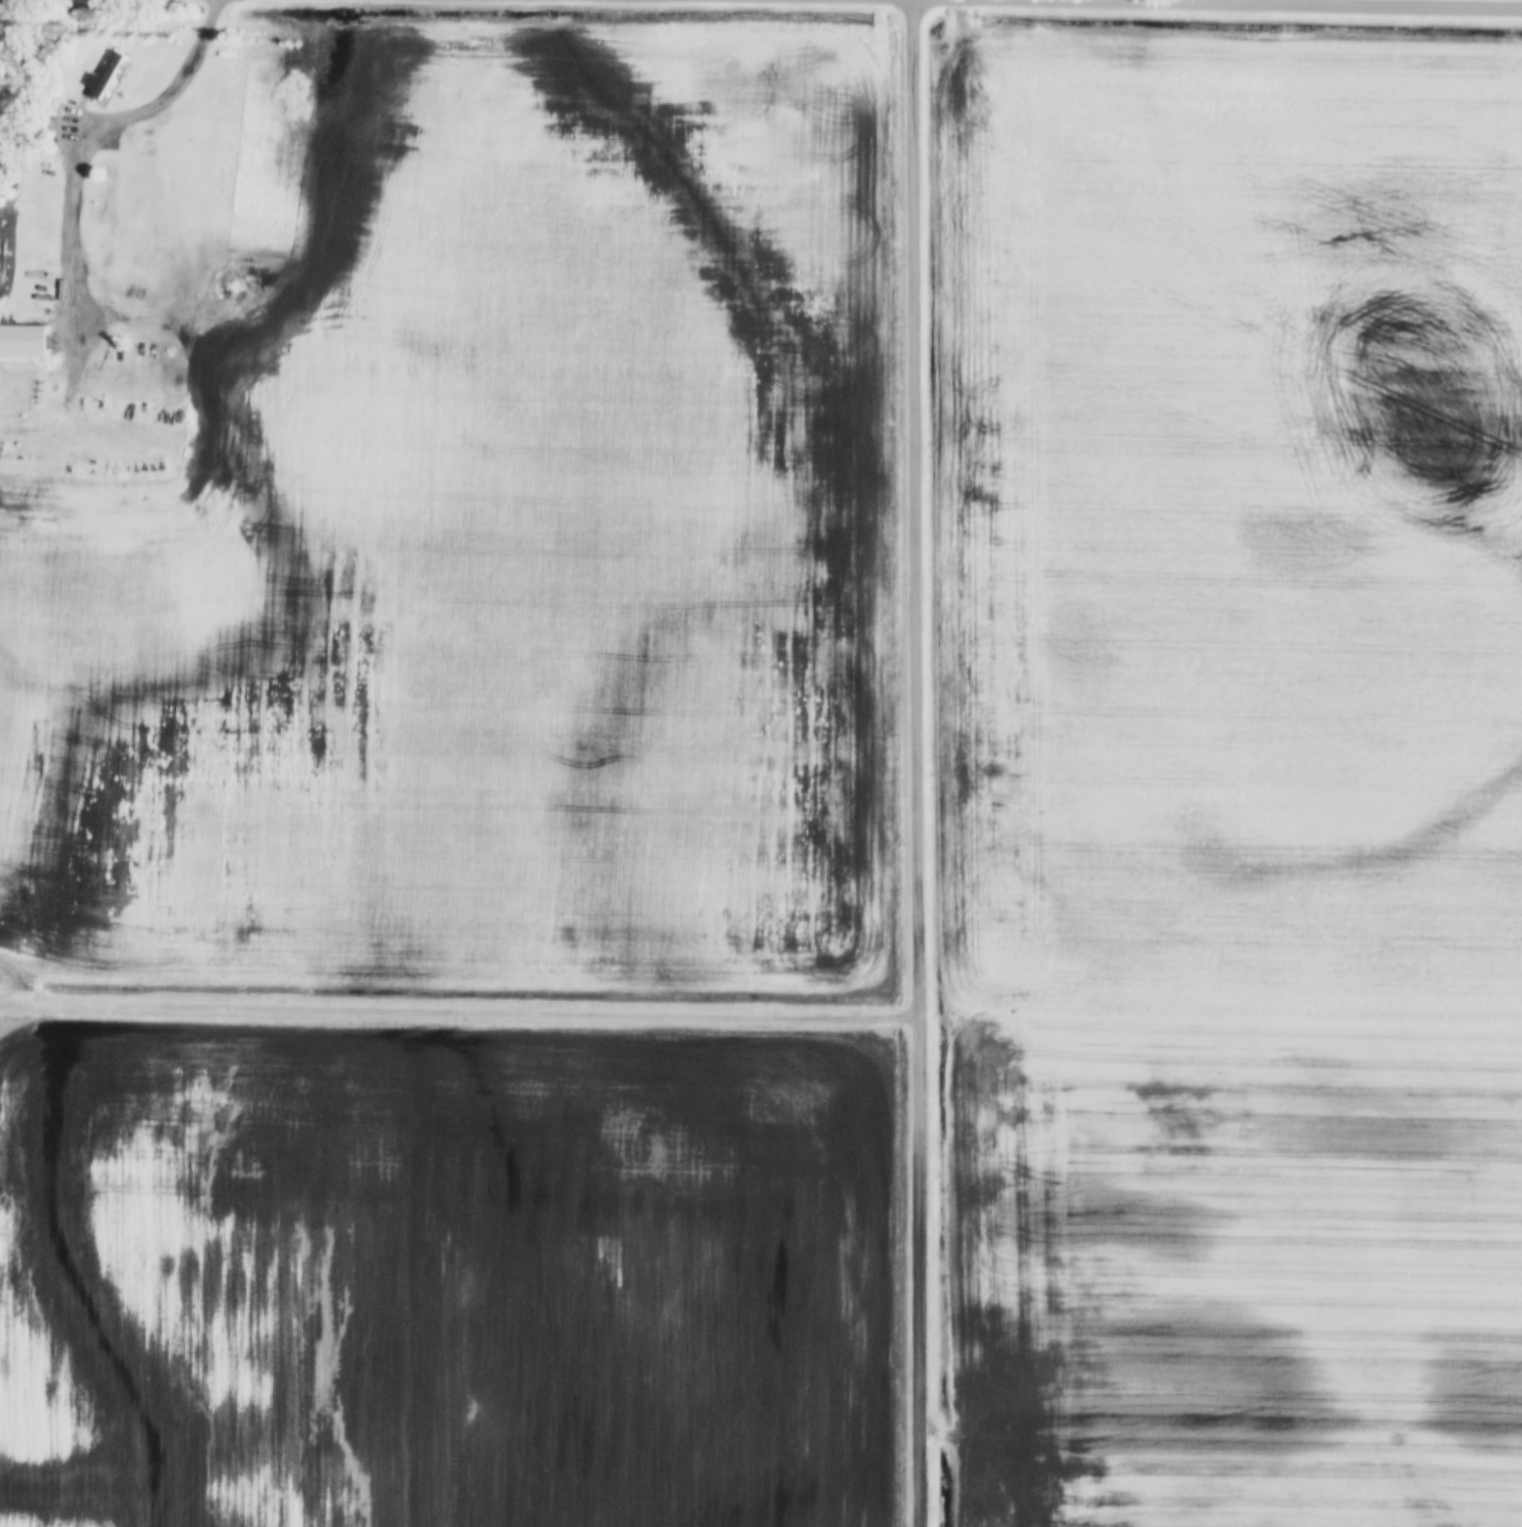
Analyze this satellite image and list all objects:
road: (1302, 5)
building: (101, 76)
building: (23, 339)
road: (920, 763)
road: (460, 1012)

